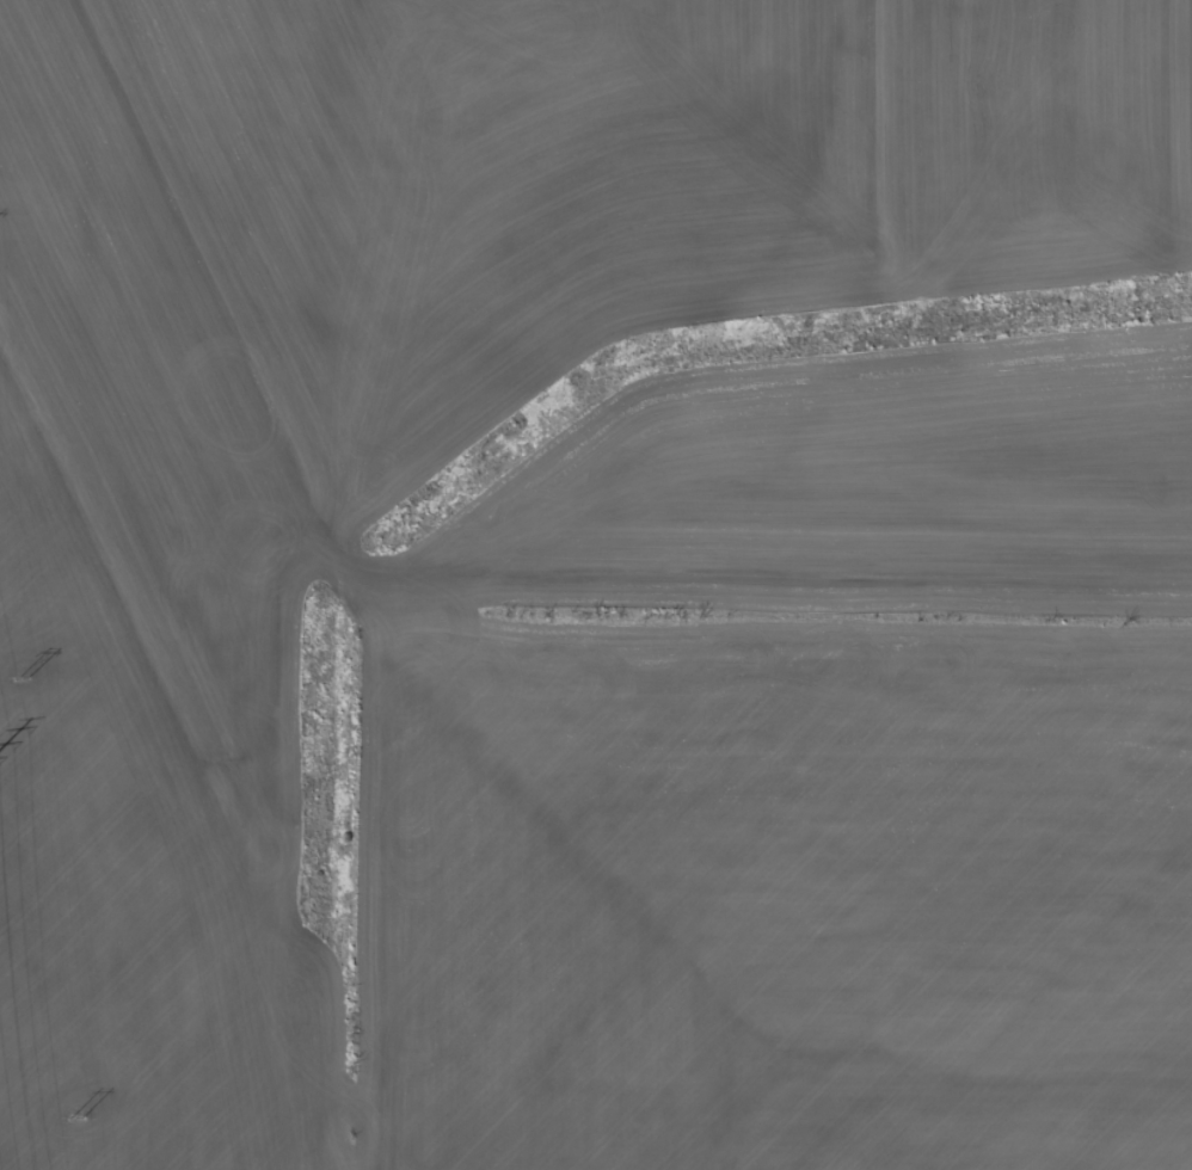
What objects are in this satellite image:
power tower: (23, 681)
power tower: (78, 1120)

